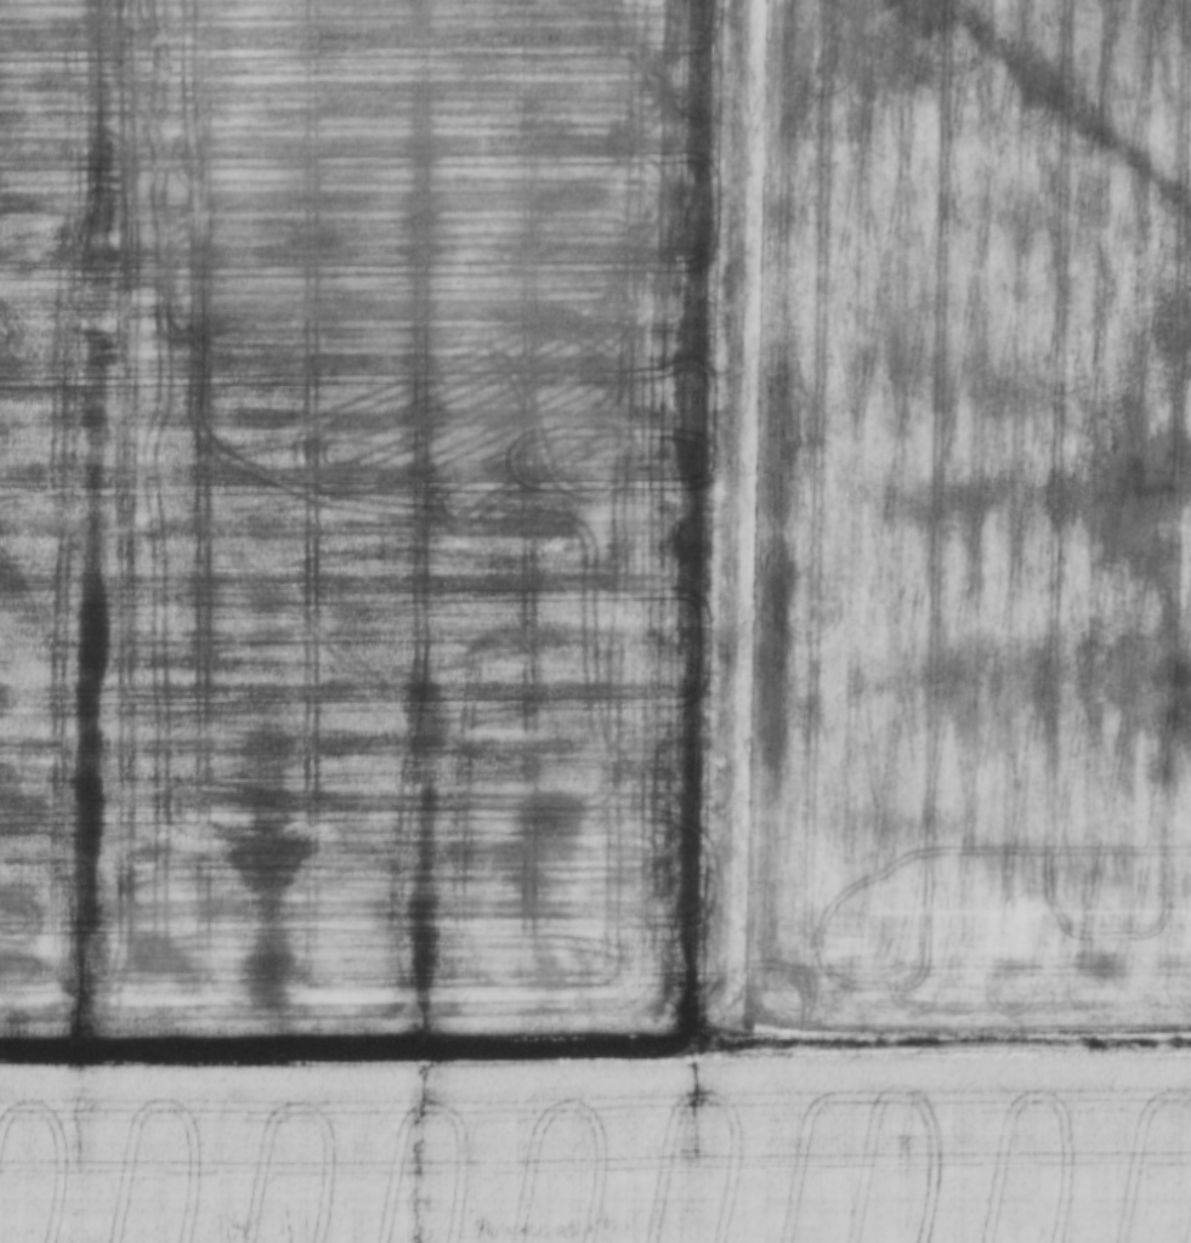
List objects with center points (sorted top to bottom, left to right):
crop: (595, 515)
crop: (596, 1152)

